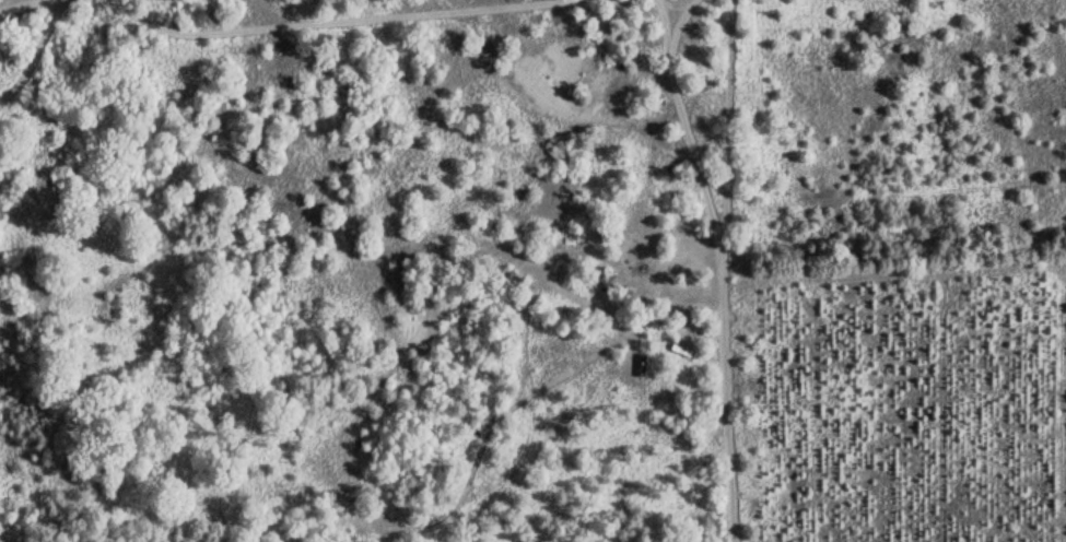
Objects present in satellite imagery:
road: (717, 271)
building: (602, 286)

